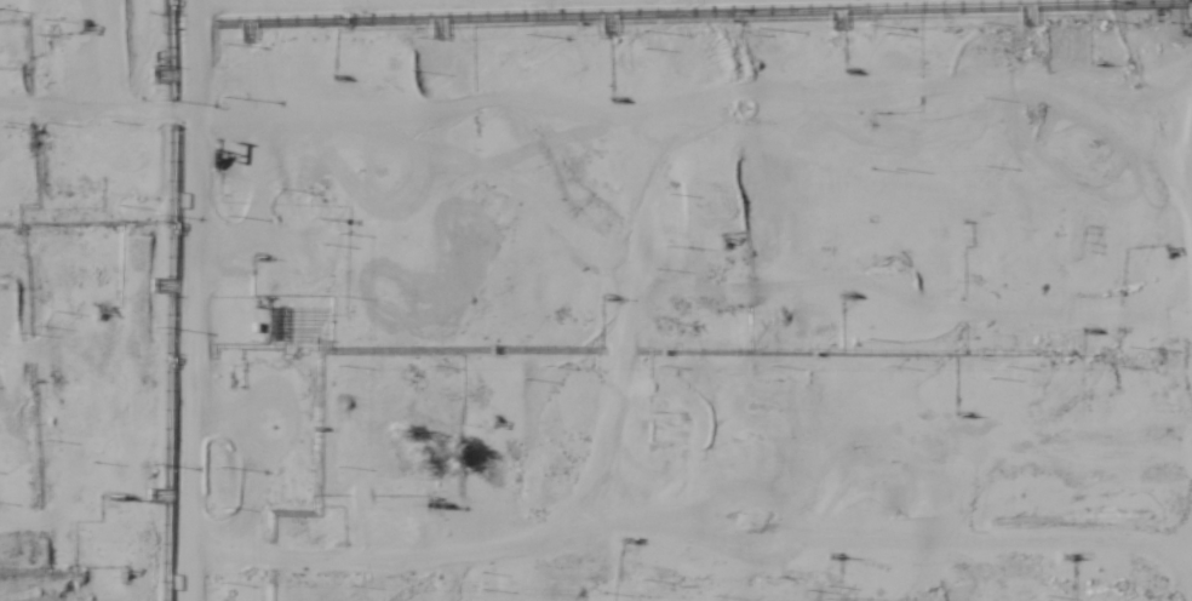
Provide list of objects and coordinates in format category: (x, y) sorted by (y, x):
road: (1147, 131)
road: (200, 371)
building: (766, 405)
building: (437, 428)
road: (277, 448)
building: (793, 470)

